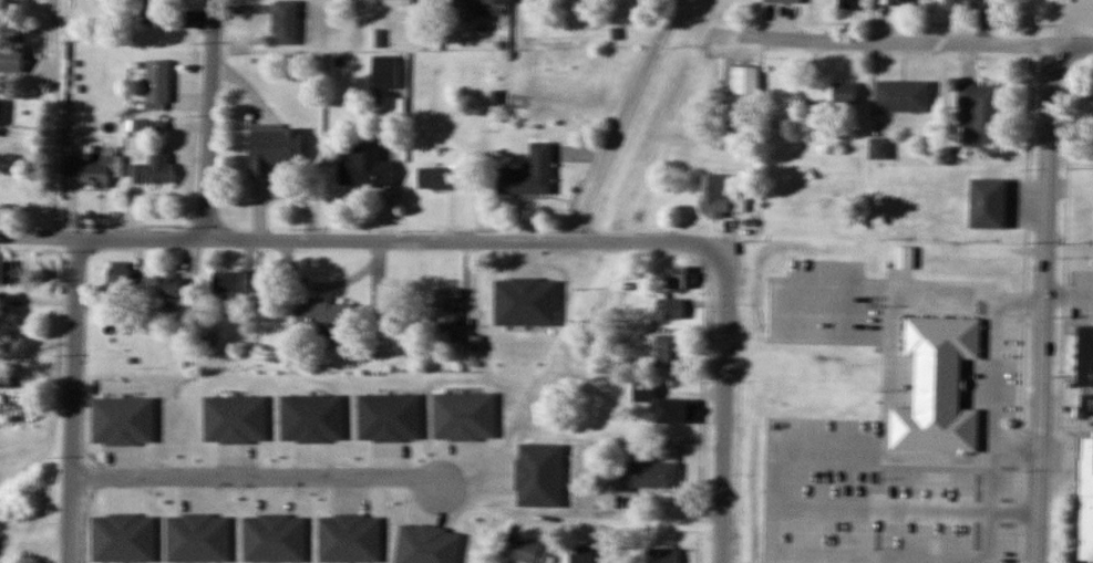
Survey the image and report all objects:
building: (410, 0)
road: (672, 0)
building: (782, 1)
building: (898, 2)
building: (849, 4)
building: (957, 6)
building: (488, 7)
building: (1085, 8)
building: (155, 12)
building: (285, 23)
road: (920, 45)
building: (11, 59)
building: (384, 76)
building: (156, 85)
building: (744, 85)
building: (844, 95)
building: (903, 97)
building: (0, 108)
building: (980, 112)
road: (208, 124)
building: (148, 126)
building: (878, 150)
building: (274, 152)
building: (367, 169)
building: (101, 170)
building: (154, 170)
building: (529, 174)
building: (436, 179)
building: (984, 181)
building: (714, 198)
building: (978, 226)
road: (386, 248)
building: (6, 273)
building: (117, 279)
building: (229, 284)
road: (565, 285)
building: (169, 289)
building: (677, 291)
road: (1044, 306)
building: (445, 310)
building: (322, 317)
building: (669, 352)
building: (1, 375)
building: (790, 383)
building: (938, 388)
road: (70, 402)
building: (663, 405)
building: (388, 417)
building: (463, 417)
building: (311, 418)
building: (235, 419)
road: (723, 434)
building: (1082, 448)
building: (642, 476)
road: (260, 479)
building: (927, 534)
building: (123, 539)
building: (197, 539)
building: (272, 539)
building: (348, 539)
building: (426, 545)
building: (772, 545)
building: (524, 552)
building: (586, 555)
building: (667, 555)
park: (27, 559)

